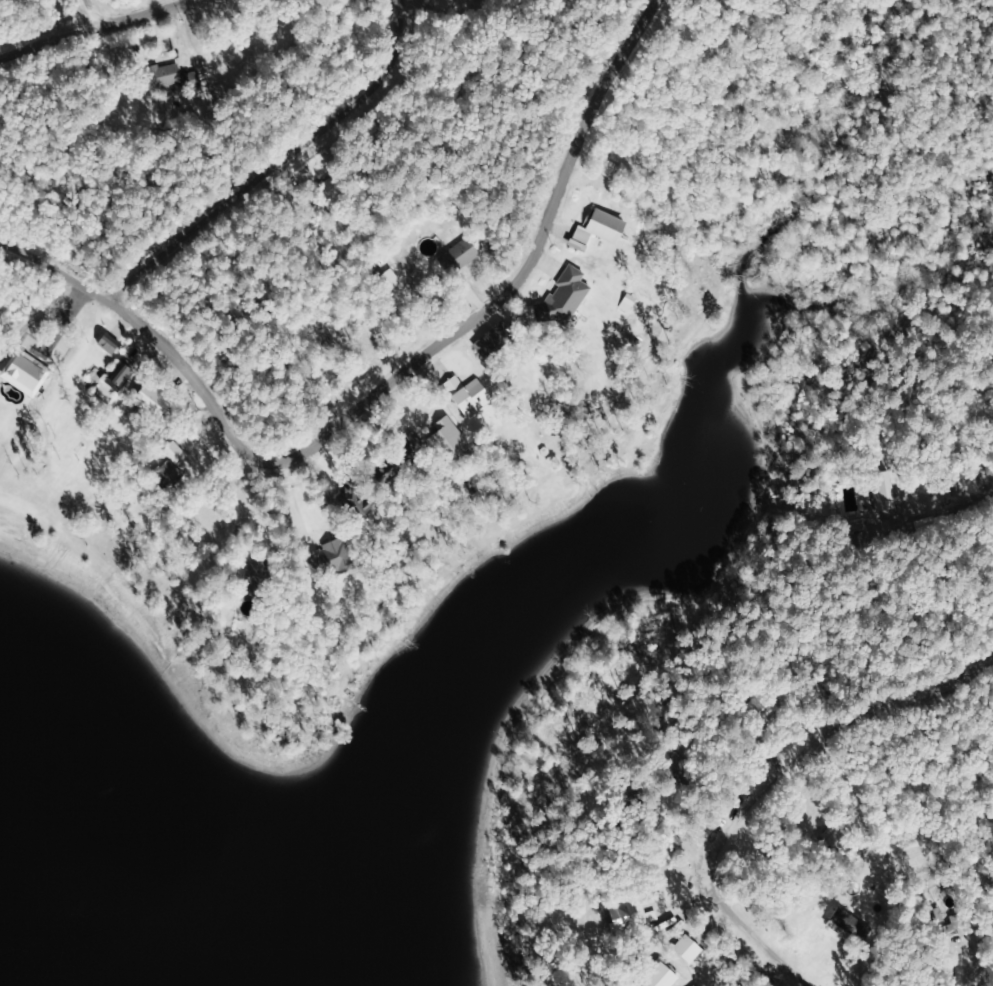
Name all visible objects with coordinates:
road: (123, 14)
road: (118, 31)
building: (159, 78)
road: (300, 161)
building: (597, 231)
building: (462, 254)
building: (560, 300)
building: (488, 345)
building: (24, 374)
building: (115, 385)
road: (399, 395)
building: (466, 396)
building: (445, 440)
building: (164, 476)
building: (885, 492)
road: (977, 532)
building: (330, 559)
building: (761, 713)
road: (824, 825)
building: (628, 914)
building: (850, 925)
building: (686, 951)
building: (660, 976)

